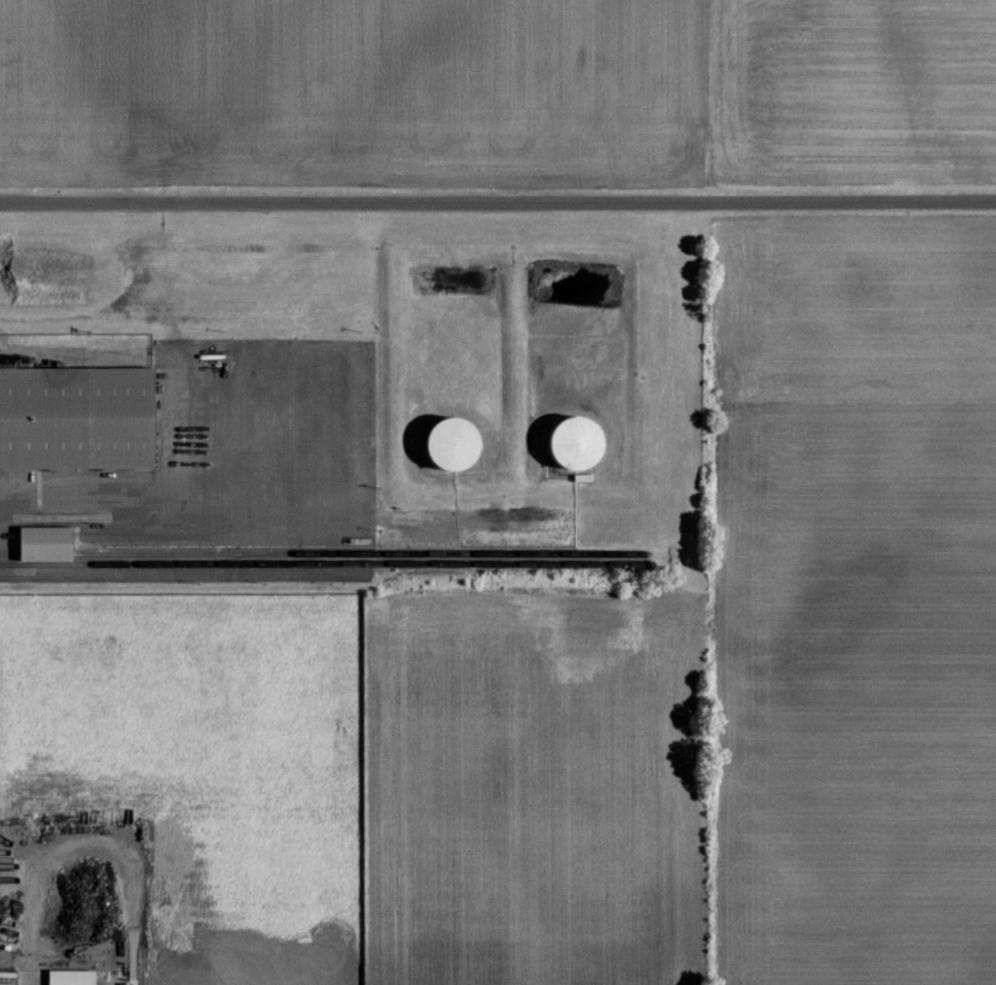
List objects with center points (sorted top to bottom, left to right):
road: (498, 204)
building: (76, 416)
silo: (450, 442)
building: (461, 443)
building: (582, 445)
road: (168, 500)
building: (43, 541)
railway: (321, 553)
railway: (240, 558)
railway: (321, 563)
building: (75, 977)

